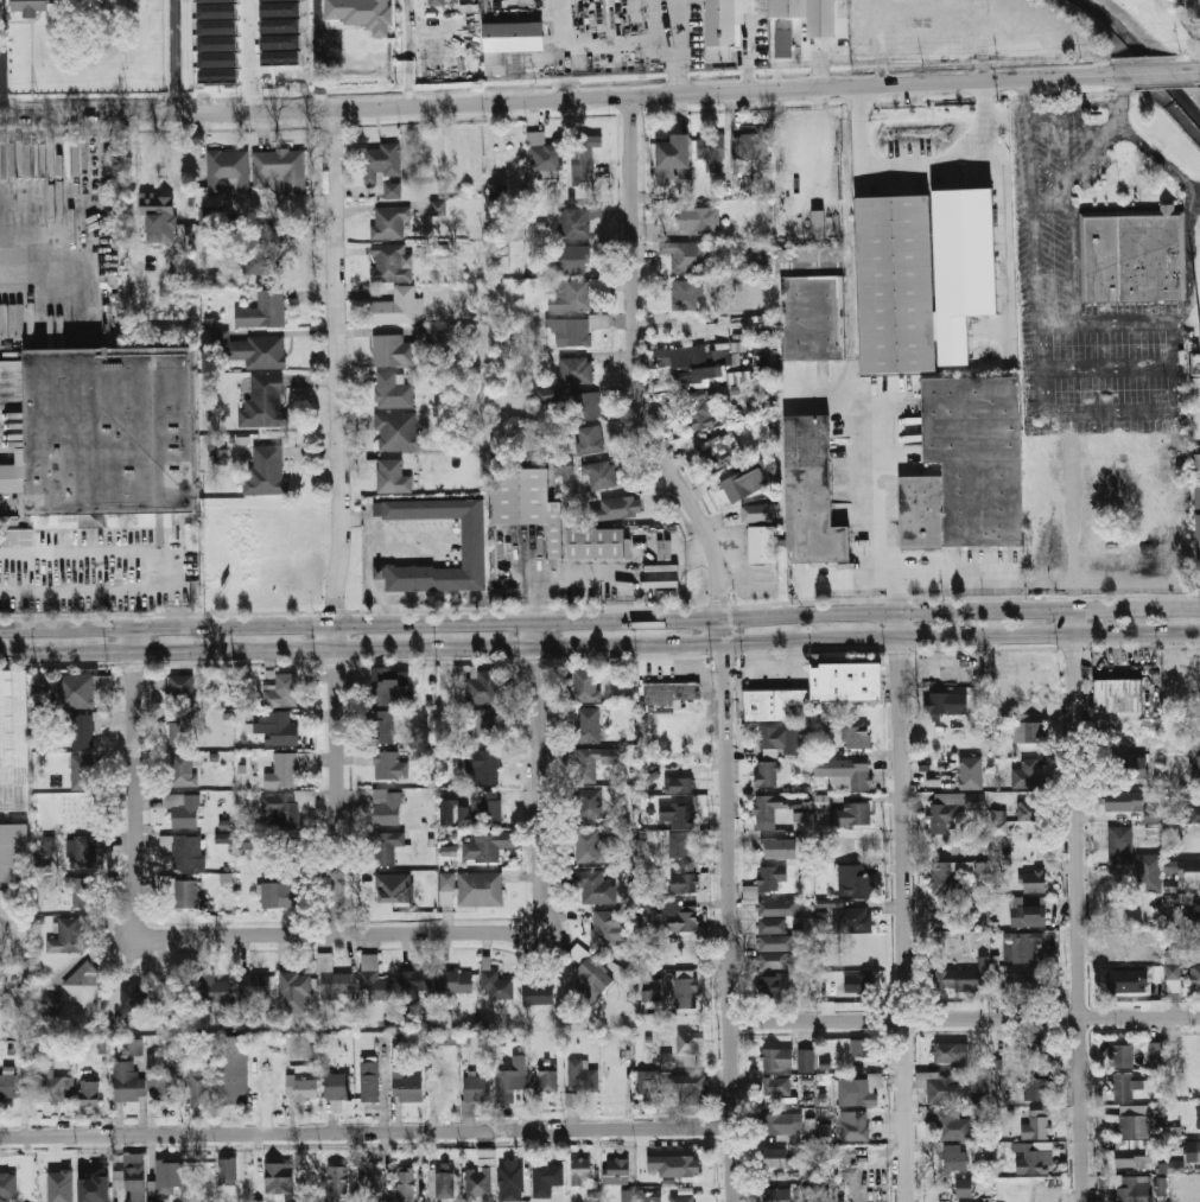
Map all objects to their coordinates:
building: (0, 1)
building: (436, 2)
building: (34, 6)
building: (361, 14)
building: (821, 14)
road: (684, 20)
building: (729, 25)
building: (509, 43)
building: (788, 43)
road: (628, 44)
river: (1138, 51)
road: (316, 53)
road: (250, 55)
road: (172, 57)
road: (1, 69)
road: (1155, 71)
road: (1119, 88)
road: (555, 100)
building: (750, 147)
building: (711, 150)
building: (540, 154)
building: (582, 157)
road: (922, 159)
building: (673, 160)
building: (381, 161)
road: (1164, 164)
building: (280, 168)
building: (223, 174)
building: (391, 190)
building: (497, 192)
building: (437, 206)
building: (158, 216)
road: (1067, 216)
road: (1029, 217)
building: (699, 220)
building: (388, 222)
building: (572, 222)
building: (262, 247)
building: (684, 254)
building: (572, 257)
building: (1134, 257)
building: (786, 260)
building: (391, 262)
building: (976, 266)
building: (208, 279)
building: (906, 282)
road: (45, 284)
building: (685, 292)
building: (570, 295)
parking lot: (1085, 297)
building: (398, 306)
building: (262, 309)
building: (814, 316)
road: (1104, 326)
building: (570, 330)
building: (255, 350)
building: (392, 350)
building: (694, 364)
road: (1105, 365)
building: (574, 369)
road: (1175, 369)
building: (392, 389)
building: (546, 394)
building: (264, 402)
building: (584, 403)
building: (697, 409)
road: (1064, 412)
building: (109, 430)
building: (398, 431)
building: (552, 433)
building: (589, 439)
building: (718, 450)
building: (977, 454)
building: (1195, 465)
building: (564, 466)
building: (266, 471)
building: (599, 473)
building: (392, 476)
building: (744, 483)
building: (814, 491)
building: (523, 501)
road: (888, 502)
building: (616, 507)
road: (8, 509)
building: (920, 510)
building: (757, 511)
road: (338, 521)
building: (1196, 526)
building: (15, 536)
building: (470, 541)
building: (592, 542)
building: (762, 543)
road: (375, 545)
road: (108, 551)
road: (603, 570)
building: (377, 572)
road: (876, 578)
road: (89, 591)
road: (620, 596)
road: (178, 609)
road: (599, 623)
road: (722, 640)
road: (599, 644)
building: (846, 682)
building: (588, 685)
building: (483, 686)
building: (177, 688)
building: (389, 688)
building: (80, 689)
building: (282, 691)
building: (1118, 695)
building: (672, 697)
building: (942, 702)
building: (777, 705)
building: (487, 723)
building: (588, 725)
building: (278, 726)
building: (383, 726)
building: (180, 729)
building: (82, 732)
building: (1028, 732)
building: (858, 737)
building: (777, 738)
building: (13, 740)
building: (1124, 740)
building: (387, 764)
building: (585, 764)
building: (483, 765)
building: (1194, 765)
building: (81, 769)
building: (182, 769)
building: (285, 769)
building: (846, 771)
building: (768, 774)
building: (971, 774)
building: (1024, 775)
road: (540, 777)
road: (134, 782)
building: (679, 787)
building: (1195, 795)
building: (823, 801)
building: (1130, 803)
building: (286, 806)
building: (387, 806)
building: (487, 806)
building: (590, 806)
building: (952, 808)
building: (184, 809)
building: (768, 810)
building: (1029, 810)
building: (1192, 813)
building: (677, 814)
building: (851, 814)
building: (802, 820)
building: (999, 822)
building: (222, 838)
building: (247, 841)
building: (47, 842)
building: (681, 842)
building: (1120, 844)
building: (485, 845)
building: (387, 846)
building: (852, 847)
building: (595, 848)
building: (780, 848)
building: (184, 850)
building: (83, 852)
building: (12, 854)
building: (1183, 867)
building: (1148, 870)
building: (948, 875)
building: (772, 877)
building: (684, 880)
building: (1035, 880)
building: (856, 882)
building: (278, 883)
building: (586, 884)
building: (475, 886)
building: (394, 888)
building: (180, 890)
building: (84, 893)
road: (1077, 904)
road: (906, 907)
building: (779, 908)
building: (1028, 911)
building: (1199, 911)
building: (857, 918)
building: (680, 920)
building: (609, 924)
building: (74, 933)
road: (339, 934)
building: (1199, 942)
building: (772, 945)
building: (1018, 948)
building: (1173, 971)
building: (590, 974)
building: (1195, 975)
building: (967, 977)
building: (373, 978)
building: (415, 981)
building: (1124, 981)
building: (456, 982)
building: (1026, 982)
building: (85, 984)
building: (336, 984)
building: (862, 984)
building: (255, 985)
building: (497, 985)
building: (772, 986)
building: (827, 986)
building: (211, 988)
building: (294, 991)
building: (531, 992)
building: (686, 993)
building: (650, 994)
building: (136, 997)
building: (51, 1006)
building: (227, 1017)
building: (445, 1020)
road: (965, 1020)
building: (440, 1038)
building: (691, 1042)
building: (133, 1047)
building: (868, 1048)
building: (952, 1052)
building: (1030, 1052)
building: (1155, 1054)
building: (1120, 1056)
building: (777, 1057)
building: (666, 1060)
building: (806, 1060)
building: (234, 1070)
building: (582, 1076)
building: (126, 1080)
building: (370, 1081)
building: (548, 1081)
building: (646, 1081)
building: (445, 1085)
building: (166, 1086)
building: (337, 1086)
building: (776, 1086)
building: (1123, 1086)
building: (8, 1087)
building: (57, 1087)
building: (199, 1087)
building: (301, 1087)
building: (406, 1087)
building: (506, 1087)
building: (942, 1087)
building: (476, 1088)
building: (685, 1089)
building: (1040, 1089)
building: (861, 1090)
building: (90, 1093)
building: (571, 1099)
building: (1199, 1119)
building: (779, 1124)
building: (950, 1124)
building: (855, 1126)
building: (1037, 1126)
road: (366, 1132)
building: (1132, 1136)
building: (1195, 1150)
building: (775, 1157)
building: (955, 1158)
building: (1035, 1158)
building: (669, 1163)
building: (582, 1170)
building: (228, 1171)
building: (617, 1171)
building: (134, 1176)
building: (169, 1177)
building: (279, 1178)
building: (480, 1178)
building: (547, 1178)
building: (372, 1179)
building: (445, 1181)
building: (512, 1181)
building: (336, 1182)
building: (56, 1184)
building: (405, 1184)
building: (1160, 1185)
building: (8, 1187)
building: (1128, 1187)
building: (964, 1188)
building: (94, 1189)
building: (1194, 1189)
building: (780, 1195)
building: (627, 1196)
building: (648, 1196)
building: (684, 1198)
building: (151, 1201)

